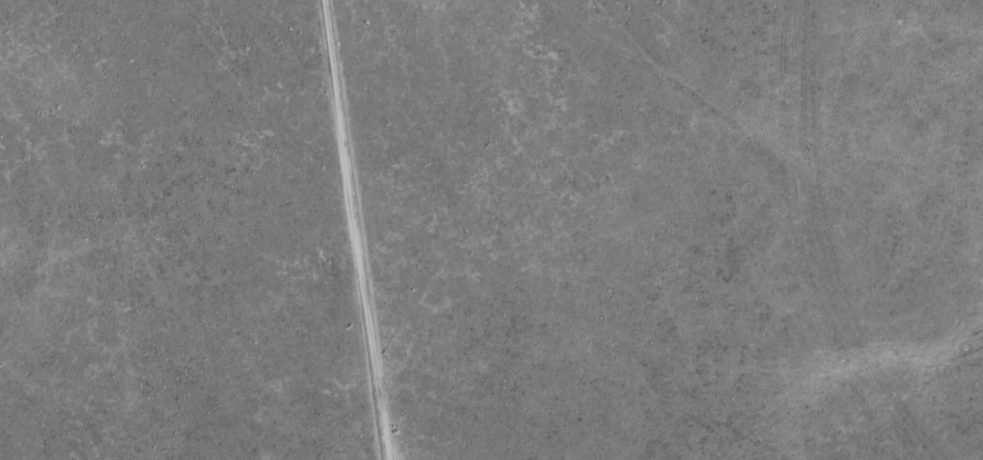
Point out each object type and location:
road: (805, 245)

